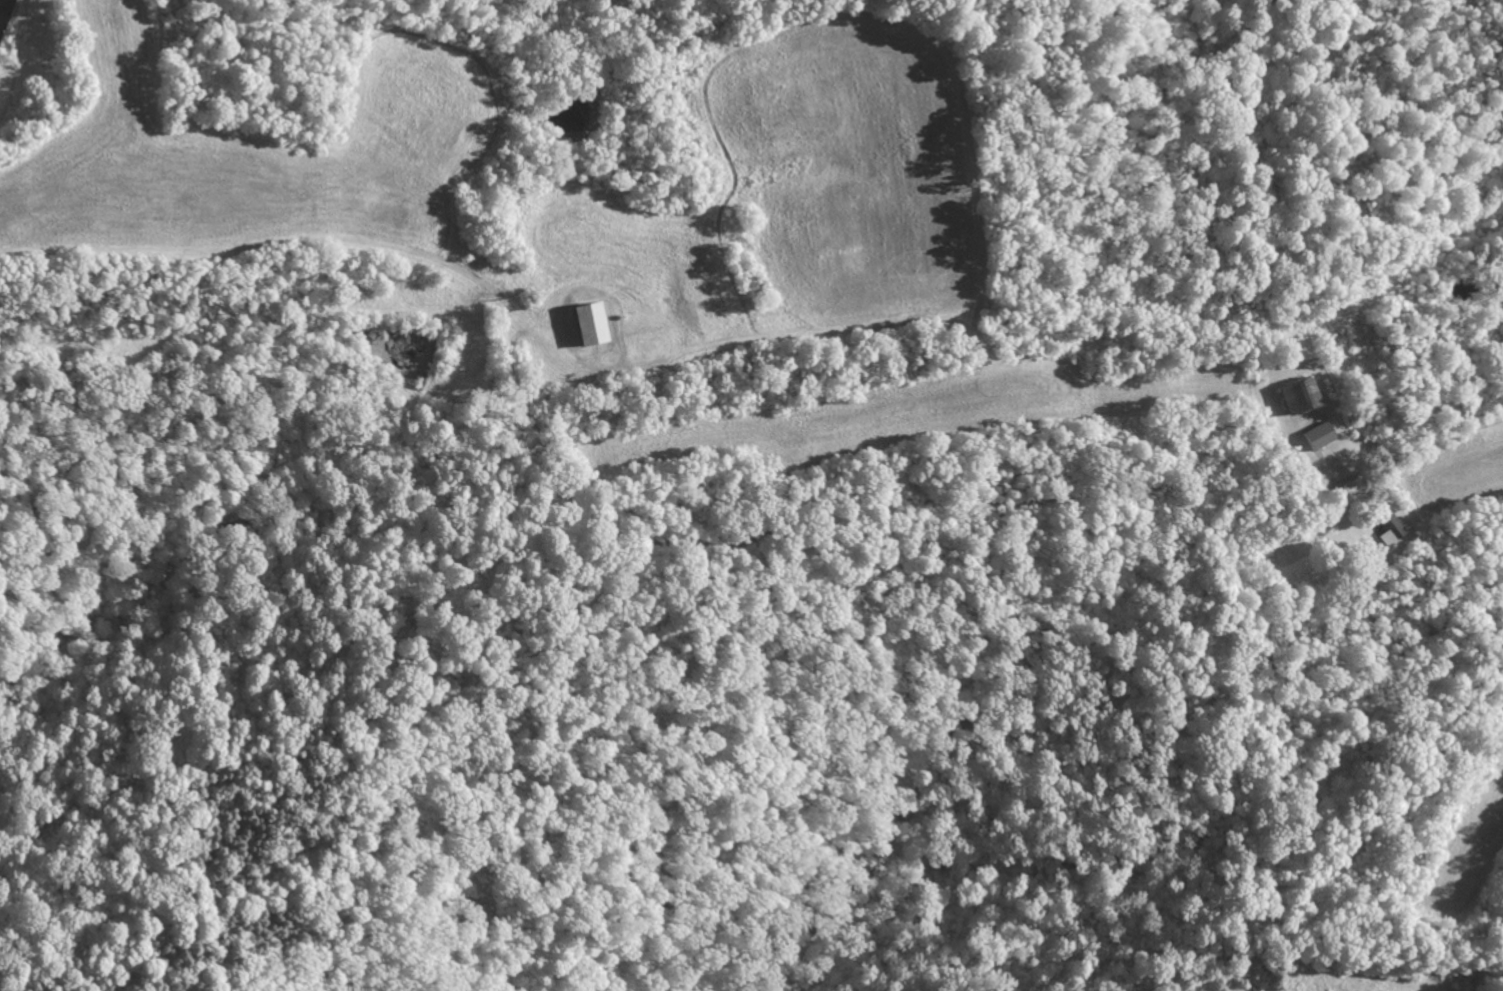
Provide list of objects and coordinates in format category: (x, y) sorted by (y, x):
building: (589, 323)
building: (1300, 396)
building: (1319, 435)
road: (1439, 439)

